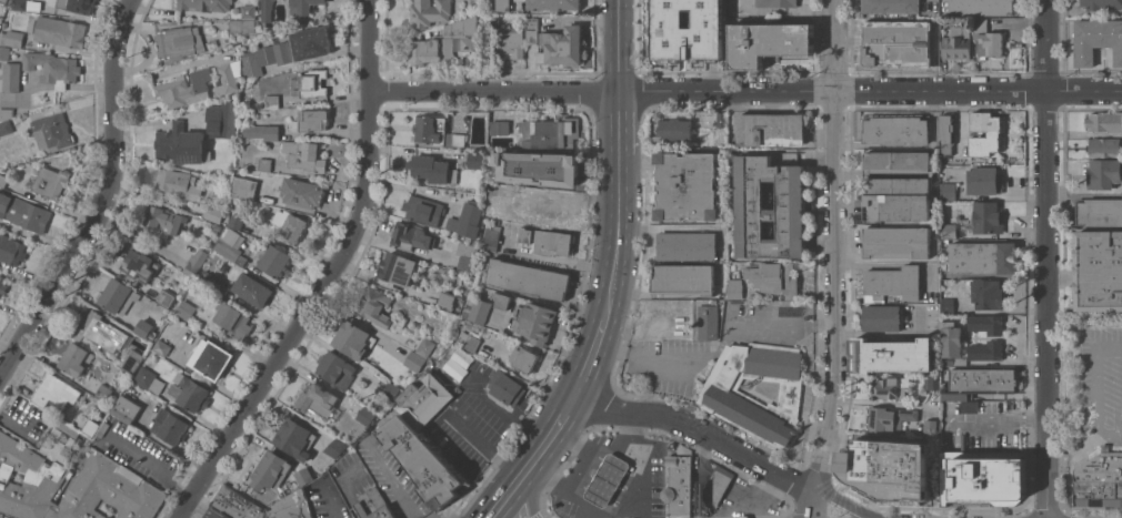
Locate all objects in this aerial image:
building: (3, 0)
building: (777, 3)
building: (18, 4)
building: (198, 4)
building: (554, 4)
building: (33, 6)
building: (74, 6)
building: (303, 6)
building: (502, 6)
building: (891, 6)
building: (1104, 6)
building: (981, 7)
building: (0, 8)
building: (673, 8)
building: (266, 10)
building: (234, 11)
building: (429, 12)
building: (495, 18)
building: (683, 23)
building: (0, 24)
building: (243, 26)
building: (531, 30)
building: (60, 31)
building: (721, 31)
building: (11, 38)
building: (988, 40)
building: (1096, 40)
building: (178, 42)
building: (509, 42)
building: (958, 42)
building: (211, 43)
building: (310, 43)
building: (440, 43)
building: (767, 43)
building: (896, 43)
building: (561, 47)
road: (614, 47)
building: (4, 52)
building: (679, 53)
building: (266, 58)
building: (52, 67)
building: (11, 77)
building: (226, 79)
building: (312, 83)
road: (744, 90)
building: (179, 92)
building: (271, 98)
building: (7, 112)
building: (720, 119)
building: (221, 120)
building: (313, 120)
building: (1104, 121)
road: (615, 123)
building: (6, 128)
building: (500, 128)
building: (675, 129)
building: (431, 130)
building: (770, 130)
building: (896, 130)
building: (52, 132)
building: (261, 132)
building: (549, 132)
building: (946, 134)
building: (993, 135)
building: (460, 140)
building: (180, 144)
building: (1104, 148)
building: (304, 155)
building: (475, 160)
building: (264, 164)
building: (538, 167)
building: (432, 170)
building: (1103, 173)
building: (272, 176)
building: (2, 180)
building: (984, 180)
building: (51, 182)
building: (174, 183)
building: (688, 186)
building: (896, 186)
building: (243, 187)
building: (493, 190)
building: (302, 192)
building: (948, 192)
road: (100, 200)
building: (553, 207)
building: (769, 209)
building: (422, 210)
building: (1099, 212)
building: (23, 213)
building: (213, 214)
building: (988, 219)
building: (236, 220)
building: (467, 221)
building: (163, 222)
building: (291, 224)
building: (217, 227)
building: (949, 231)
building: (230, 235)
building: (411, 236)
building: (491, 237)
road: (615, 237)
building: (547, 241)
building: (439, 242)
building: (896, 242)
building: (687, 245)
road: (834, 245)
building: (11, 250)
building: (227, 250)
building: (467, 256)
building: (983, 257)
road: (559, 258)
road: (1044, 258)
building: (276, 262)
building: (196, 263)
road: (866, 265)
building: (138, 266)
building: (223, 267)
building: (397, 268)
building: (1099, 271)
road: (328, 275)
building: (528, 278)
building: (775, 278)
building: (683, 280)
building: (212, 281)
building: (894, 282)
building: (2, 284)
building: (735, 288)
building: (256, 292)
building: (988, 294)
building: (118, 296)
building: (166, 297)
building: (447, 298)
building: (501, 301)
building: (375, 305)
building: (948, 305)
building: (186, 309)
building: (477, 309)
building: (401, 311)
building: (883, 317)
building: (233, 319)
building: (709, 321)
building: (535, 323)
building: (986, 324)
road: (781, 325)
building: (144, 328)
building: (102, 332)
building: (169, 335)
building: (351, 339)
building: (508, 339)
road: (723, 339)
building: (951, 339)
building: (1115, 342)
building: (471, 343)
building: (161, 347)
building: (425, 347)
building: (986, 351)
building: (893, 355)
building: (209, 358)
building: (74, 359)
building: (524, 359)
building: (131, 360)
building: (414, 360)
road: (655, 360)
building: (960, 360)
building: (334, 367)
parking lot: (1100, 378)
building: (149, 379)
building: (932, 383)
building: (979, 385)
building: (507, 387)
building: (890, 387)
road: (1095, 389)
building: (390, 390)
building: (457, 390)
building: (54, 392)
building: (103, 392)
building: (192, 393)
building: (727, 398)
building: (317, 399)
building: (424, 400)
road: (570, 403)
building: (379, 405)
road: (502, 405)
building: (126, 409)
building: (908, 414)
building: (365, 416)
building: (882, 419)
road: (985, 420)
parking lot: (472, 423)
building: (932, 426)
building: (90, 427)
building: (170, 427)
building: (102, 428)
road: (698, 428)
building: (56, 433)
building: (293, 436)
building: (659, 437)
building: (335, 447)
road: (485, 447)
road: (1073, 450)
building: (422, 461)
road: (156, 463)
building: (889, 466)
building: (271, 470)
building: (107, 475)
building: (304, 476)
building: (982, 478)
building: (607, 479)
building: (1099, 481)
building: (679, 486)
building: (717, 487)
road: (505, 498)
road: (527, 498)
road: (811, 502)
road: (842, 504)
building: (234, 505)
building: (373, 505)
building: (291, 506)

